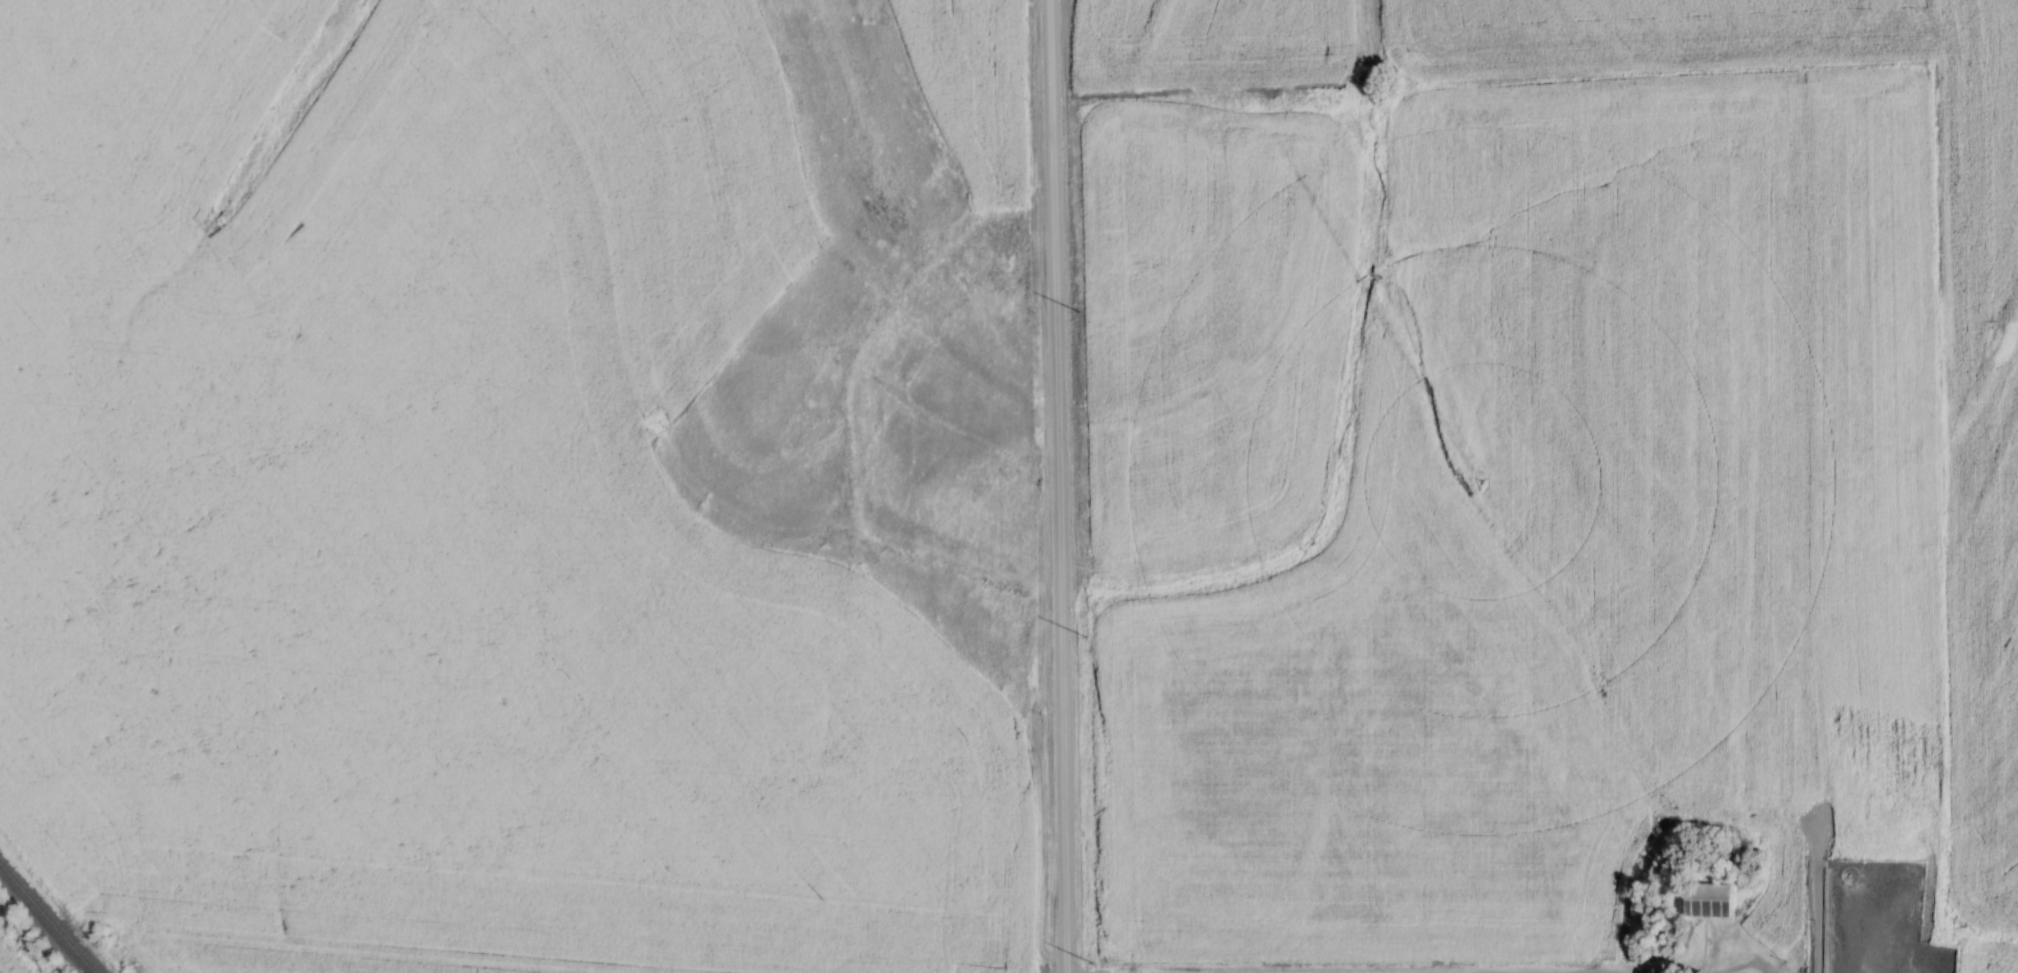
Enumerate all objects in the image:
road: (1062, 486)
building: (1703, 900)
railway: (49, 911)

